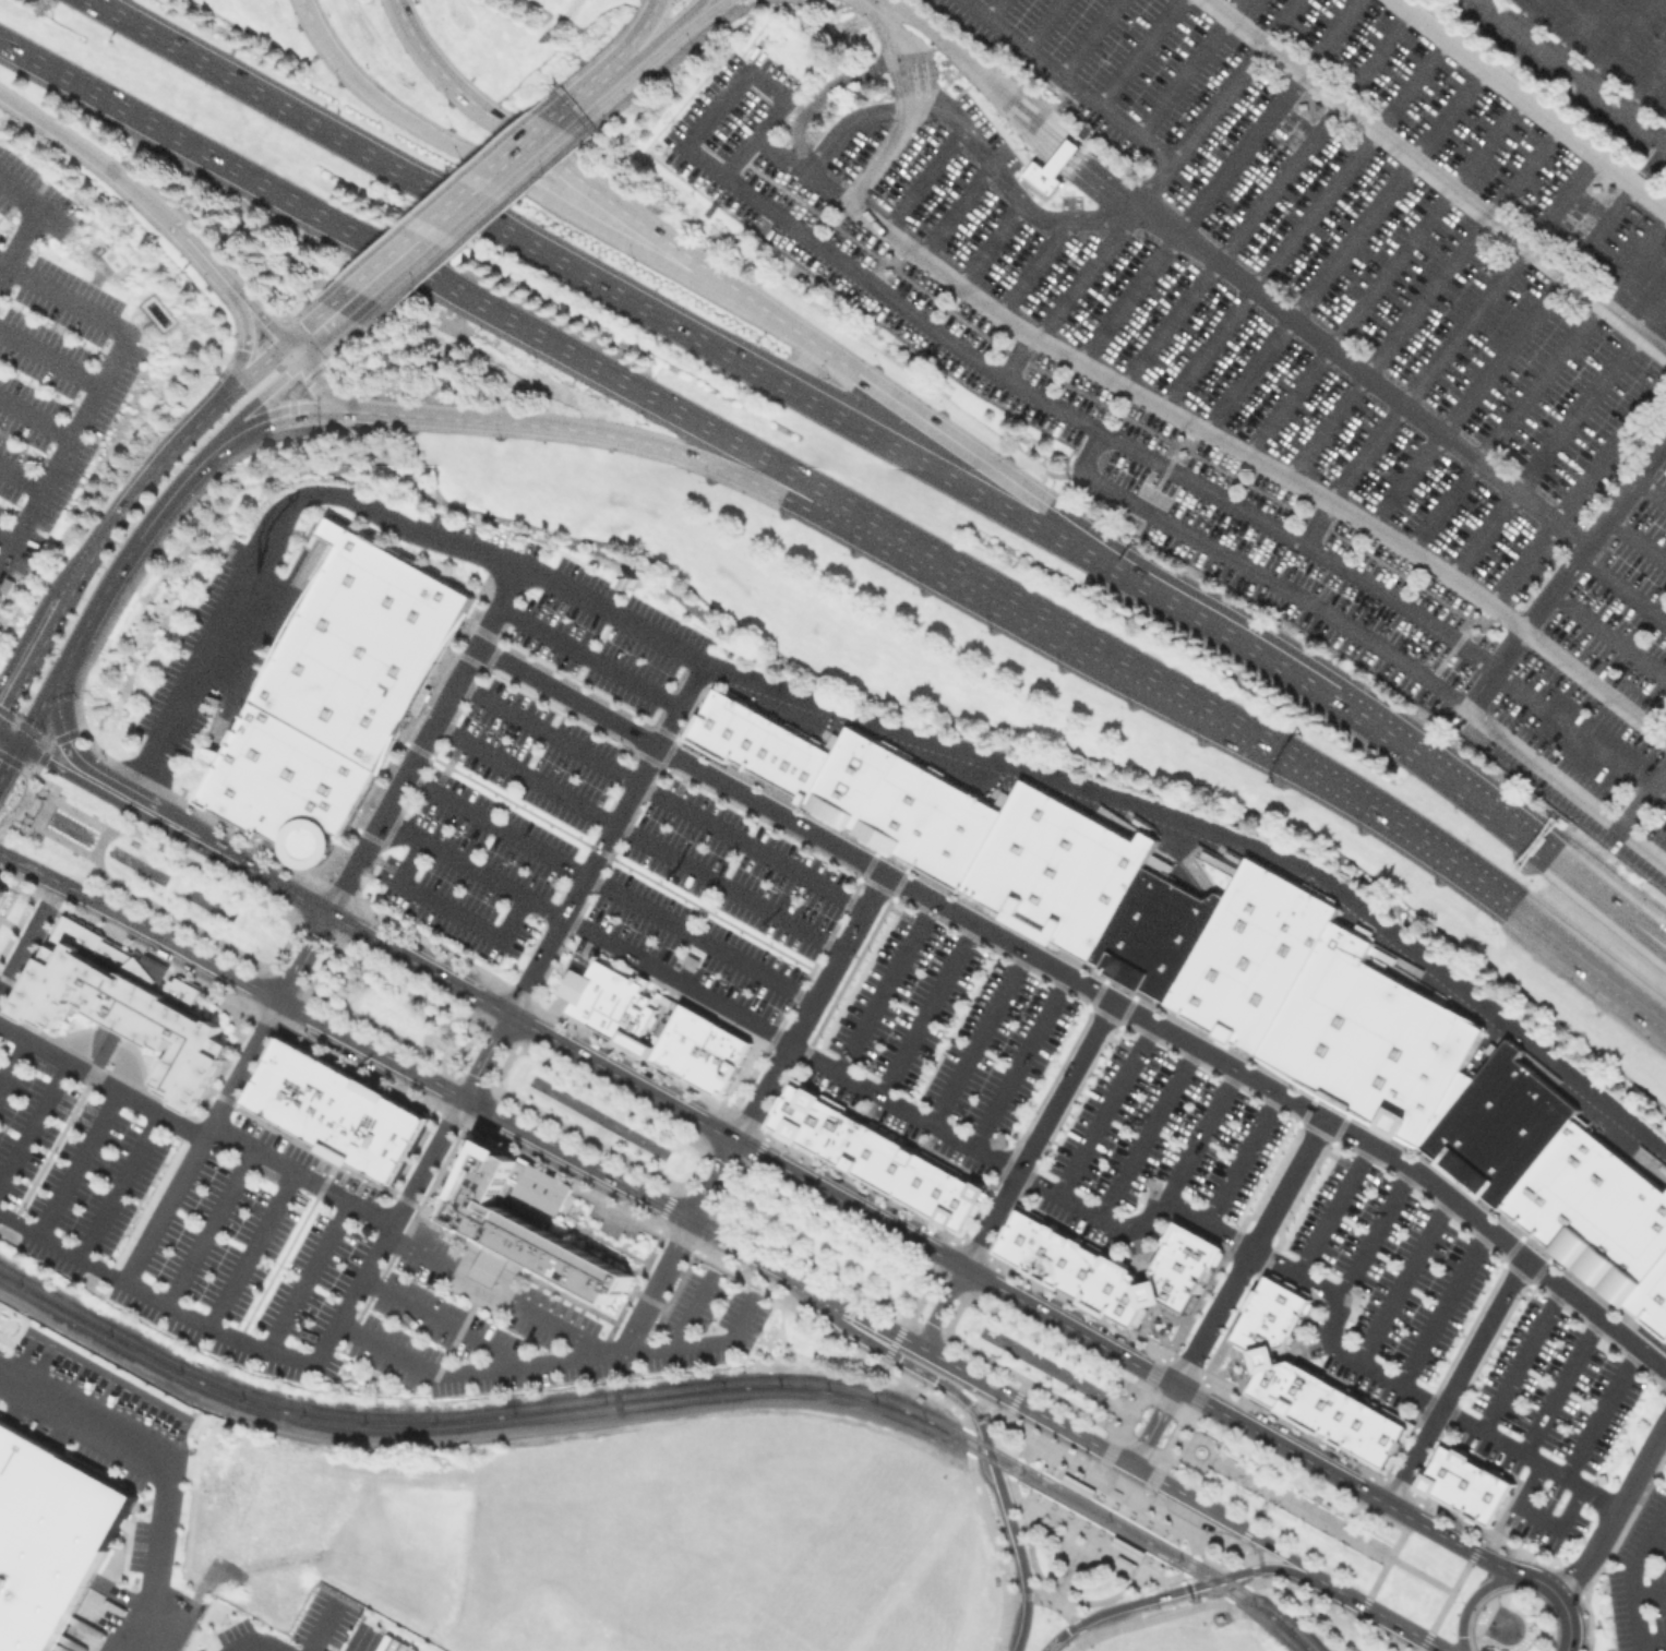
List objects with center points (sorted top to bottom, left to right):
road: (740, 4)
road: (305, 9)
road: (994, 9)
road: (1525, 14)
road: (678, 21)
road: (1041, 23)
road: (692, 24)
road: (1574, 28)
road: (1087, 37)
road: (632, 40)
road: (1619, 41)
road: (903, 43)
road: (1136, 51)
road: (888, 64)
road: (635, 65)
road: (1185, 65)
road: (972, 70)
road: (659, 71)
road: (1570, 71)
road: (1232, 80)
road: (1645, 88)
road: (819, 93)
road: (1511, 93)
road: (1089, 97)
road: (584, 104)
building: (1301, 104)
road: (1665, 143)
road: (1086, 144)
road: (1665, 144)
road: (1065, 152)
road: (779, 153)
building: (1060, 155)
road: (878, 156)
road: (97, 159)
road: (1649, 165)
road: (558, 166)
building: (1041, 178)
road: (1436, 178)
road: (923, 179)
road: (1216, 179)
road: (515, 180)
road: (1102, 181)
building: (1594, 186)
road: (1011, 193)
road: (1265, 198)
road: (1649, 199)
road: (460, 211)
road: (955, 211)
road: (28, 218)
road: (482, 223)
road: (1302, 223)
road: (987, 243)
road: (1341, 249)
road: (1033, 265)
building: (885, 268)
road: (216, 270)
road: (1086, 270)
road: (423, 271)
road: (1382, 276)
road: (1418, 299)
parking lot: (1274, 310)
road: (339, 315)
traffic signals: (268, 323)
road: (272, 326)
road: (1460, 327)
road: (356, 335)
traffic signals: (316, 336)
road: (307, 344)
road: (1501, 354)
road: (49, 356)
road: (241, 356)
road: (1017, 356)
road: (971, 357)
parking lot: (49, 362)
road: (1098, 370)
road: (253, 371)
road: (104, 372)
road: (1362, 372)
traffic signals: (287, 373)
road: (313, 378)
road: (1537, 379)
road: (293, 391)
road: (257, 398)
traffic signals: (319, 410)
road: (35, 415)
road: (253, 424)
road: (574, 429)
road: (940, 432)
road: (1557, 432)
road: (875, 438)
road: (1664, 445)
building: (1179, 450)
road: (156, 468)
road: (21, 475)
road: (1577, 487)
road: (1650, 491)
road: (1315, 522)
road: (5, 537)
road: (431, 537)
road: (1635, 540)
road: (5, 550)
road: (128, 553)
road: (149, 555)
road: (1255, 570)
road: (1562, 571)
road: (964, 581)
road: (1621, 588)
road: (610, 613)
building: (1471, 626)
road: (1607, 634)
road: (47, 635)
building: (362, 644)
road: (586, 655)
parking lot: (192, 662)
road: (1593, 684)
road: (2, 710)
road: (36, 711)
building: (717, 723)
road: (1578, 733)
road: (3, 735)
road: (41, 737)
traffic signals: (7, 738)
building: (750, 740)
road: (3, 743)
building: (788, 761)
road: (1306, 766)
building: (288, 769)
road: (32, 773)
building: (848, 778)
road: (55, 785)
road: (1562, 785)
road: (129, 788)
road: (658, 794)
road: (1641, 795)
building: (892, 803)
road: (127, 805)
road: (79, 814)
road: (1177, 816)
road: (7, 818)
building: (926, 821)
building: (280, 826)
road: (636, 834)
road: (620, 837)
building: (959, 839)
road: (64, 841)
road: (613, 857)
road: (468, 866)
road: (98, 869)
building: (1055, 870)
park: (147, 872)
road: (579, 878)
road: (607, 887)
building: (2, 893)
road: (445, 910)
road: (1647, 934)
building: (1154, 935)
road: (29, 937)
road: (420, 937)
road: (1647, 937)
road: (819, 949)
building: (1250, 956)
road: (303, 957)
road: (1590, 962)
road: (320, 965)
road: (884, 985)
road: (1084, 986)
park: (393, 1004)
building: (619, 1005)
building: (123, 1007)
road: (807, 1007)
road: (925, 1008)
parking lot: (957, 1034)
road: (975, 1037)
building: (1371, 1039)
building: (683, 1041)
road: (465, 1043)
road: (520, 1046)
road: (486, 1056)
road: (12, 1058)
building: (718, 1060)
road: (1018, 1061)
road: (503, 1065)
road: (241, 1068)
road: (100, 1081)
road: (496, 1090)
road: (1101, 1108)
building: (335, 1109)
park: (597, 1116)
road: (34, 1121)
building: (811, 1121)
building: (1499, 1126)
road: (1143, 1130)
road: (721, 1134)
road: (1036, 1134)
road: (1198, 1134)
road: (759, 1147)
road: (1242, 1156)
building: (877, 1158)
road: (579, 1159)
road: (427, 1160)
road: (76, 1161)
road: (694, 1170)
road: (301, 1173)
road: (715, 1181)
road: (118, 1184)
building: (925, 1185)
road: (592, 1195)
road: (1072, 1203)
building: (959, 1205)
road: (1331, 1207)
road: (161, 1209)
building: (1593, 1210)
building: (524, 1222)
road: (208, 1225)
road: (860, 1233)
road: (1371, 1233)
building: (1017, 1235)
building: (1194, 1241)
park: (830, 1244)
road: (966, 1244)
road: (250, 1247)
parking lot: (290, 1251)
road: (794, 1252)
building: (1047, 1252)
building: (1070, 1252)
road: (1247, 1252)
road: (1138, 1254)
building: (1183, 1265)
building: (1078, 1272)
road: (305, 1273)
road: (1401, 1278)
road: (658, 1283)
building: (1105, 1285)
road: (957, 1288)
building: (1173, 1291)
building: (1284, 1292)
road: (493, 1293)
building: (1148, 1293)
road: (1149, 1293)
building: (1652, 1303)
building: (1126, 1304)
road: (1441, 1304)
road: (937, 1305)
road: (692, 1309)
building: (1273, 1311)
road: (438, 1320)
building: (1263, 1326)
road: (930, 1327)
road: (1159, 1329)
road: (902, 1330)
road: (221, 1332)
road: (949, 1338)
building: (1248, 1338)
road: (895, 1344)
road: (1299, 1348)
road: (886, 1352)
road: (549, 1357)
building: (1263, 1357)
road: (1265, 1359)
road: (1525, 1363)
park: (1046, 1365)
road: (1231, 1368)
road: (1154, 1372)
road: (1206, 1374)
building: (1269, 1384)
railway: (678, 1386)
building: (1293, 1389)
road: (1565, 1390)
road: (1016, 1398)
railway: (668, 1399)
road: (1165, 1403)
building: (1316, 1403)
road: (976, 1405)
road: (967, 1413)
building: (1337, 1413)
road: (1450, 1413)
road: (1604, 1417)
building: (1353, 1423)
road: (1020, 1424)
road: (1153, 1426)
road: (477, 1434)
road: (1175, 1437)
building: (1382, 1439)
road: (1183, 1441)
road: (1277, 1444)
road: (1140, 1448)
road: (990, 1453)
railway: (1043, 1458)
road: (975, 1459)
road: (1105, 1461)
road: (167, 1464)
road: (1015, 1467)
building: (1440, 1470)
road: (1377, 1473)
road: (1123, 1482)
road: (1148, 1485)
road: (1174, 1490)
building: (1477, 1492)
railway: (1022, 1495)
road: (1098, 1498)
road: (1054, 1505)
road: (1138, 1506)
road: (1387, 1506)
road: (1301, 1507)
road: (1611, 1507)
road: (1259, 1511)
road: (1379, 1516)
road: (1537, 1516)
road: (1221, 1517)
park: (1317, 1519)
road: (1625, 1523)
road: (1208, 1531)
building: (49, 1535)
road: (1656, 1538)
road: (1242, 1539)
road: (1227, 1541)
building: (1148, 1544)
road: (1018, 1547)
road: (1083, 1550)
road: (1135, 1550)
road: (1257, 1550)
road: (1471, 1552)
road: (1290, 1557)
road: (1077, 1559)
road: (1076, 1562)
building: (1124, 1562)
road: (1187, 1563)
road: (1258, 1569)
road: (1296, 1574)
road: (1631, 1574)
parking lot: (1641, 1577)
road: (1255, 1578)
road: (1218, 1579)
road: (1565, 1580)
road: (1242, 1589)
road: (1371, 1589)
road: (1225, 1591)
road: (1452, 1591)
road: (1649, 1591)
road: (1473, 1594)
road: (1056, 1596)
road: (1056, 1598)
road: (1128, 1603)
road: (1561, 1605)
road: (1387, 1618)
road: (1022, 1623)
road: (1587, 1623)
road: (1059, 1637)
road: (1651, 1640)

